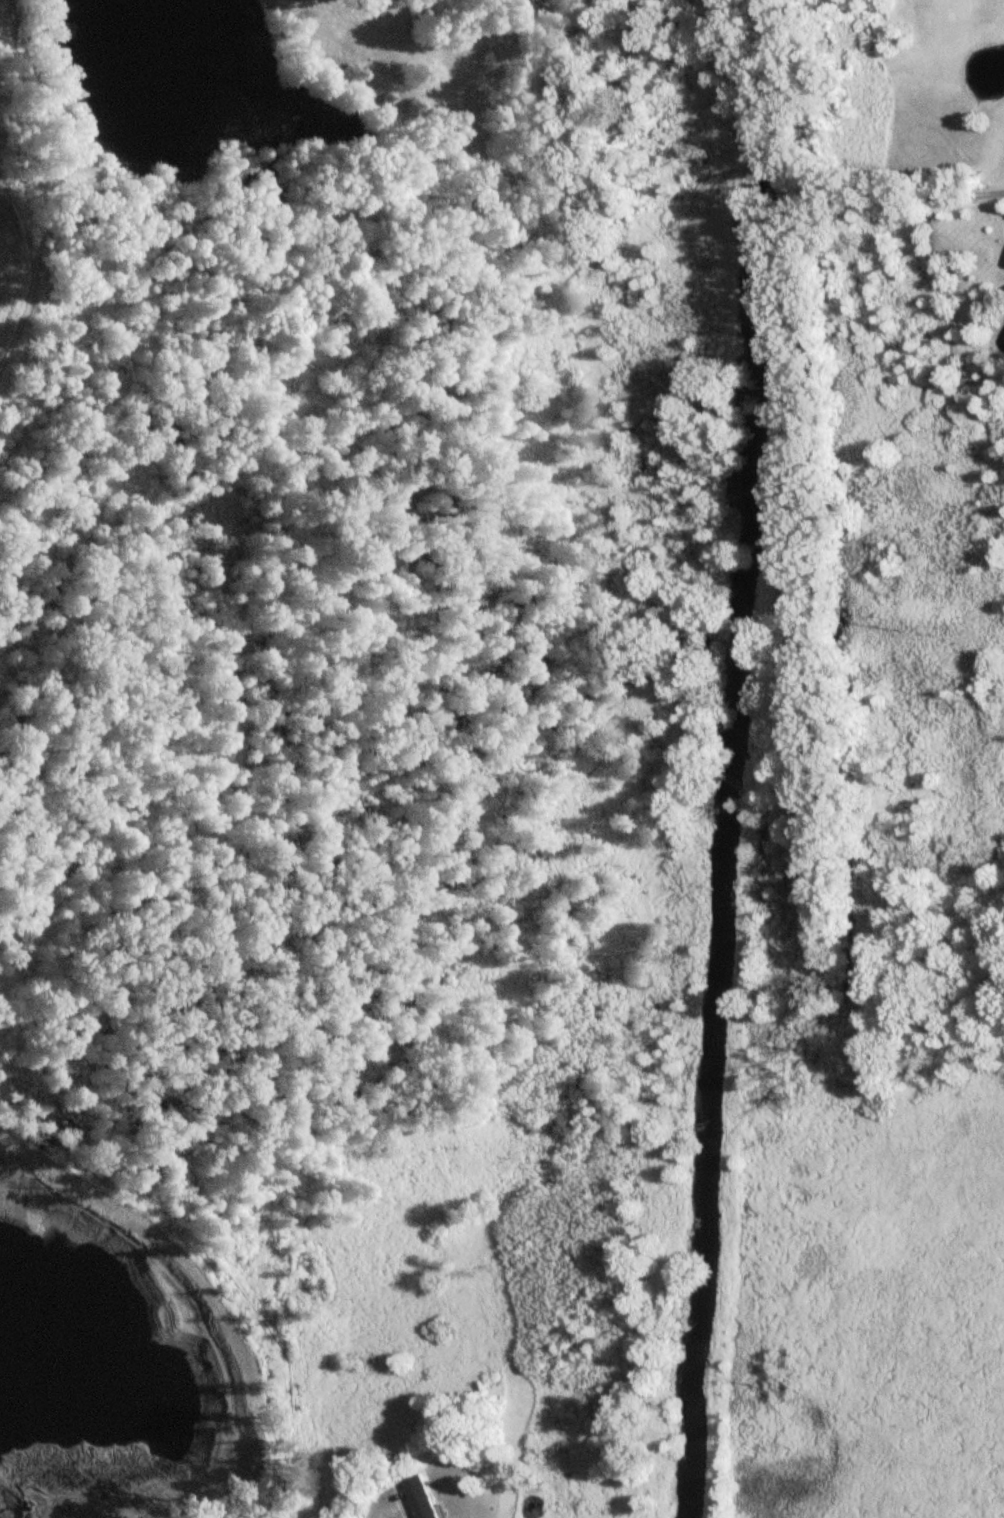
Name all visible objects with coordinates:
road: (541, 4)
road: (721, 17)
road: (614, 24)
road: (812, 176)
building: (422, 1497)
road: (376, 1509)

